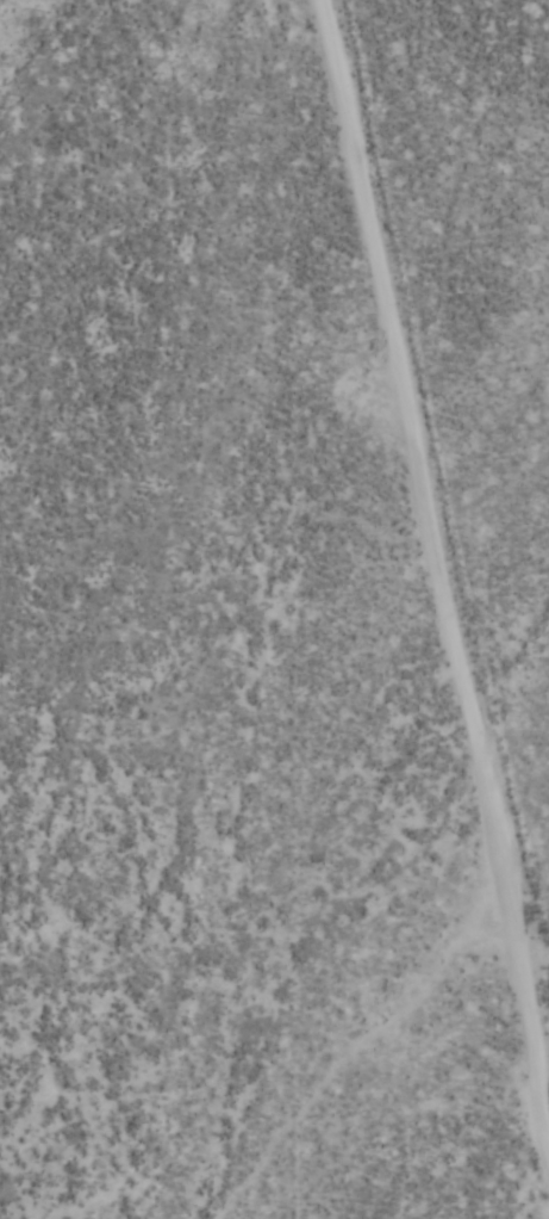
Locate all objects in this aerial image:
road: (450, 444)
crop: (274, 609)

